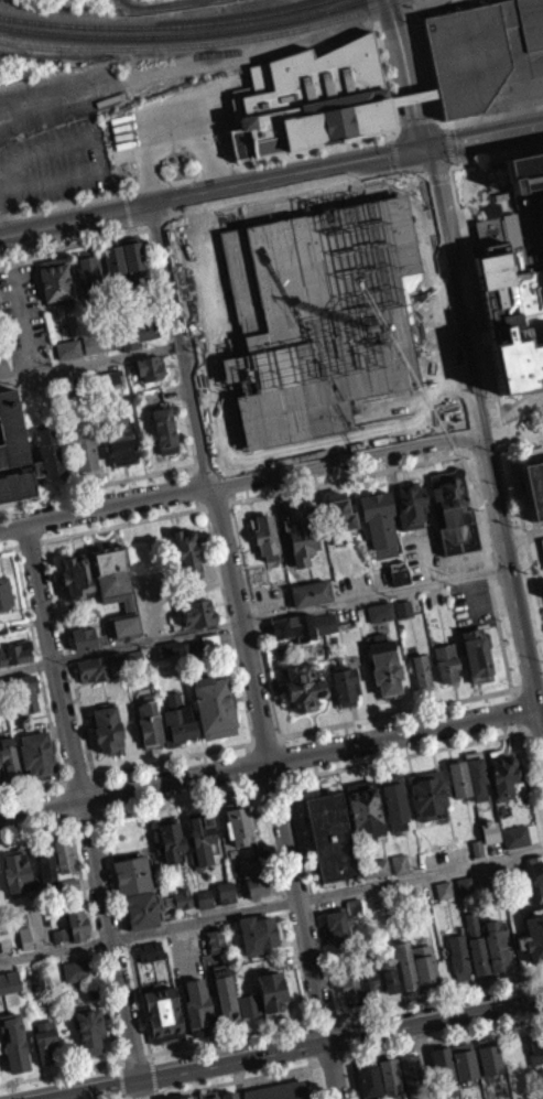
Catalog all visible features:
road: (126, 0)
building: (155, 0)
building: (140, 1)
road: (134, 2)
railway: (491, 2)
road: (156, 4)
railway: (176, 32)
railway: (194, 42)
railway: (213, 52)
building: (484, 53)
road: (387, 77)
road: (61, 97)
building: (314, 99)
road: (415, 115)
road: (482, 118)
road: (398, 121)
parking lot: (56, 137)
road: (448, 142)
traffic signals: (423, 149)
road: (512, 152)
road: (101, 154)
road: (453, 162)
road: (348, 163)
building: (524, 170)
road: (195, 175)
road: (123, 192)
road: (127, 207)
road: (77, 219)
road: (2, 220)
road: (131, 227)
road: (74, 241)
road: (466, 249)
building: (133, 252)
building: (113, 259)
building: (130, 263)
building: (90, 273)
building: (54, 280)
building: (133, 310)
building: (512, 313)
building: (317, 314)
parking lot: (22, 317)
road: (23, 320)
building: (100, 341)
building: (67, 347)
road: (173, 347)
building: (90, 352)
building: (66, 356)
road: (91, 362)
building: (149, 367)
road: (468, 369)
building: (108, 378)
building: (110, 386)
road: (510, 399)
road: (517, 408)
building: (11, 425)
building: (163, 425)
building: (119, 437)
road: (501, 445)
road: (485, 449)
building: (51, 450)
building: (85, 453)
road: (239, 476)
road: (349, 476)
building: (17, 480)
road: (98, 483)
road: (199, 484)
building: (534, 485)
building: (15, 494)
road: (216, 503)
building: (411, 505)
road: (519, 505)
building: (454, 510)
building: (343, 519)
road: (124, 521)
building: (379, 521)
building: (298, 531)
building: (264, 536)
road: (42, 539)
road: (29, 542)
building: (542, 542)
parking garage: (542, 542)
road: (15, 546)
road: (7, 547)
building: (187, 550)
building: (541, 552)
road: (488, 570)
building: (111, 571)
building: (76, 575)
building: (399, 575)
building: (311, 591)
building: (6, 592)
building: (542, 594)
parking lot: (470, 602)
building: (402, 607)
building: (379, 610)
building: (197, 612)
building: (401, 616)
road: (253, 618)
building: (378, 619)
building: (325, 622)
road: (254, 623)
building: (2, 626)
road: (230, 626)
building: (289, 626)
building: (83, 636)
building: (210, 639)
building: (172, 646)
building: (194, 647)
road: (248, 650)
building: (476, 650)
building: (15, 651)
building: (445, 660)
road: (69, 661)
building: (383, 664)
building: (99, 666)
road: (39, 668)
building: (421, 668)
building: (344, 682)
road: (532, 683)
building: (26, 692)
building: (300, 692)
road: (512, 692)
building: (214, 704)
road: (540, 705)
road: (515, 709)
road: (399, 715)
building: (177, 720)
building: (149, 721)
building: (107, 726)
road: (535, 726)
road: (275, 746)
road: (263, 748)
road: (279, 748)
road: (249, 752)
road: (247, 755)
building: (35, 756)
building: (10, 757)
road: (405, 757)
road: (282, 765)
road: (170, 768)
road: (270, 769)
road: (250, 772)
building: (502, 772)
building: (476, 774)
building: (1, 776)
building: (458, 776)
road: (531, 779)
road: (287, 782)
road: (89, 785)
road: (75, 787)
road: (93, 788)
road: (270, 788)
road: (252, 789)
road: (62, 790)
building: (0, 791)
building: (427, 793)
road: (61, 794)
road: (30, 796)
building: (394, 800)
road: (96, 804)
road: (180, 807)
road: (63, 808)
road: (85, 809)
building: (363, 809)
building: (238, 820)
road: (99, 821)
road: (65, 822)
road: (68, 825)
road: (83, 825)
road: (97, 825)
road: (33, 831)
building: (203, 836)
building: (329, 836)
building: (171, 839)
building: (488, 840)
building: (513, 844)
building: (477, 845)
building: (232, 852)
building: (63, 853)
building: (45, 862)
building: (399, 862)
building: (535, 863)
building: (374, 866)
building: (234, 868)
building: (18, 872)
building: (398, 872)
building: (132, 873)
building: (377, 875)
building: (254, 881)
building: (69, 883)
building: (464, 884)
building: (443, 888)
building: (226, 891)
building: (182, 896)
building: (204, 897)
building: (442, 897)
building: (224, 901)
road: (311, 901)
road: (271, 905)
road: (285, 905)
building: (181, 906)
building: (202, 906)
building: (354, 906)
building: (141, 909)
building: (77, 924)
building: (337, 927)
building: (257, 931)
building: (59, 934)
building: (25, 936)
building: (532, 936)
road: (126, 938)
road: (95, 941)
building: (57, 942)
building: (495, 942)
building: (477, 945)
building: (23, 946)
building: (213, 946)
building: (149, 950)
building: (459, 953)
building: (148, 959)
building: (404, 962)
building: (424, 965)
building: (77, 969)
building: (388, 976)
building: (74, 978)
building: (367, 978)
building: (350, 983)
building: (8, 990)
building: (225, 992)
building: (272, 992)
building: (370, 992)
road: (438, 994)
building: (197, 1006)
building: (163, 1013)
building: (246, 1013)
road: (333, 1016)
road: (322, 1019)
road: (312, 1021)
building: (89, 1028)
road: (229, 1036)
road: (442, 1037)
building: (46, 1041)
building: (13, 1042)
road: (309, 1044)
building: (535, 1044)
road: (146, 1053)
road: (132, 1055)
building: (488, 1055)
road: (150, 1056)
road: (120, 1058)
building: (464, 1059)
road: (330, 1060)
road: (116, 1067)
building: (410, 1068)
building: (443, 1068)
road: (58, 1070)
building: (390, 1073)
road: (153, 1074)
road: (312, 1076)
road: (356, 1077)
building: (369, 1078)
road: (234, 1080)
road: (118, 1087)
road: (156, 1091)
building: (279, 1091)
building: (209, 1095)
building: (229, 1095)
road: (158, 1097)
building: (185, 1097)

